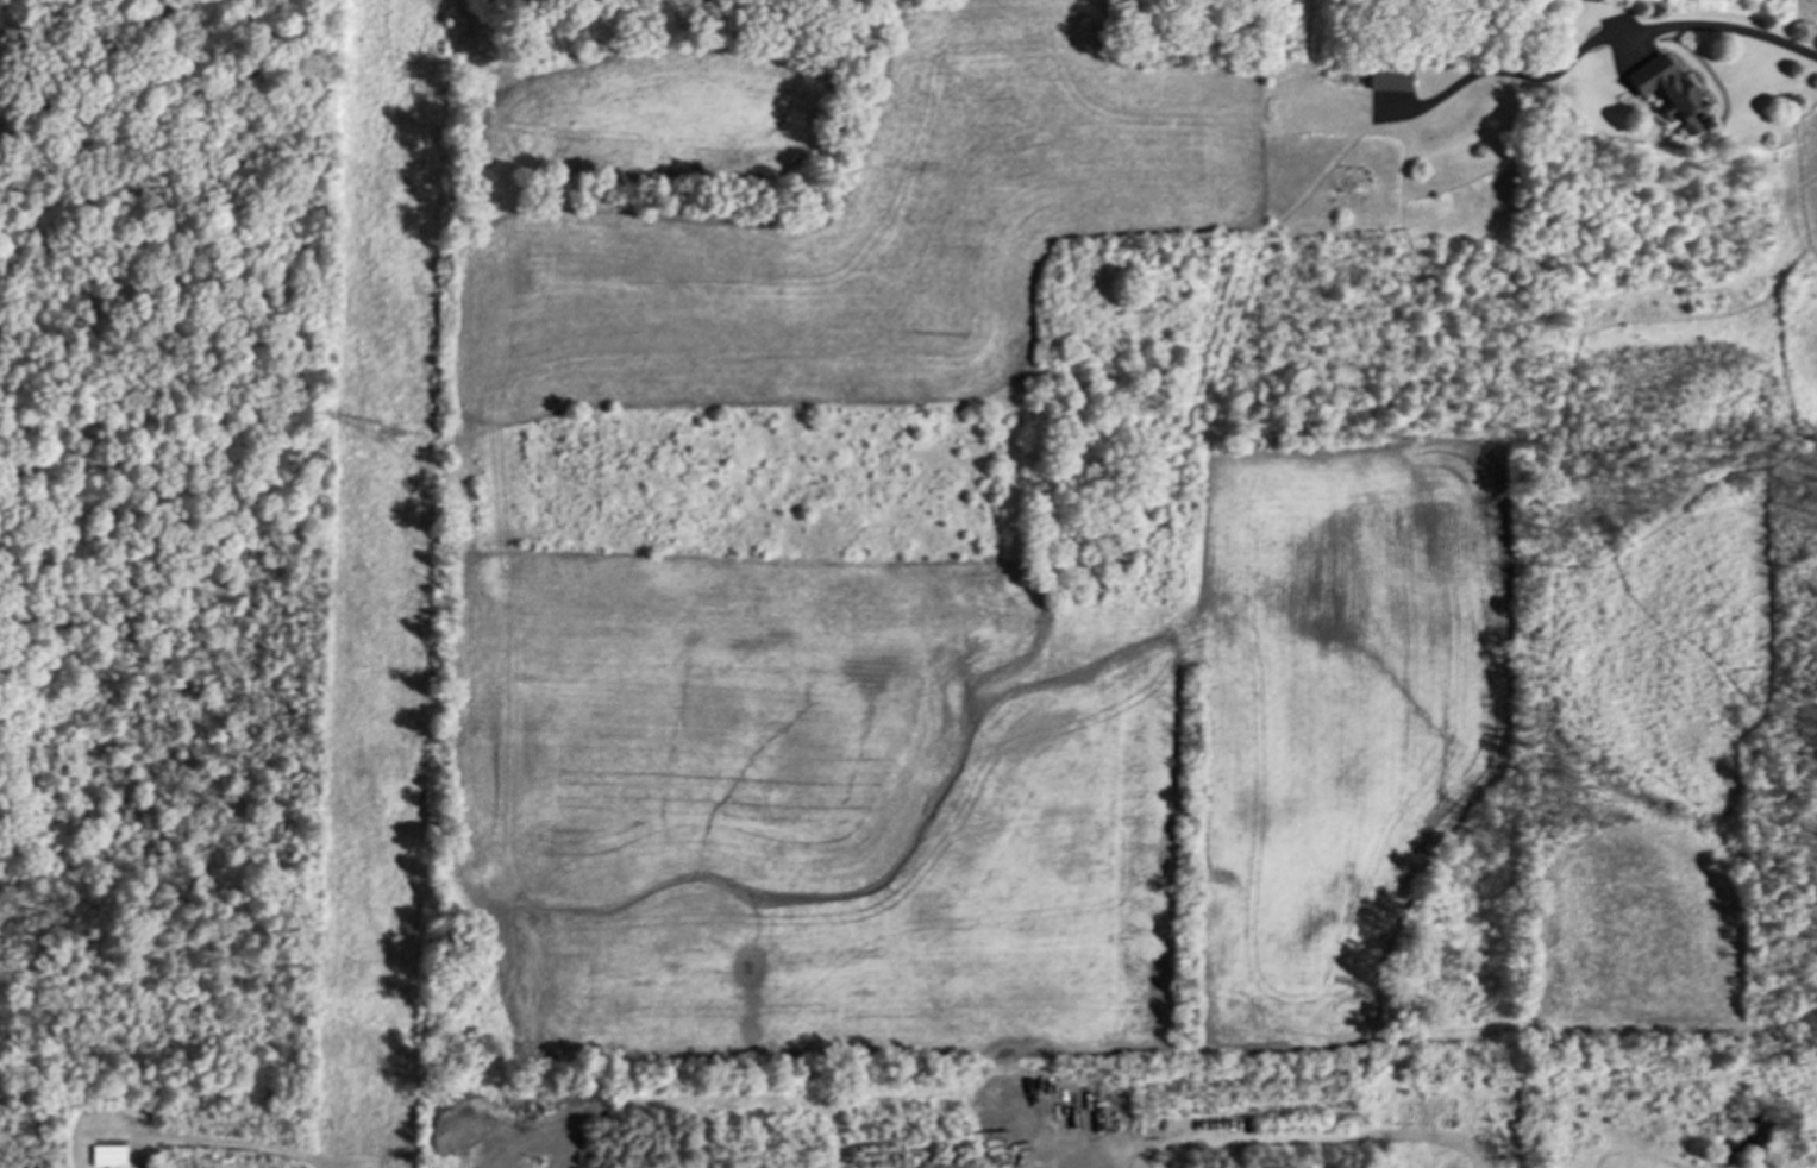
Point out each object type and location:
road: (1736, 27)
building: (1387, 79)
building: (1666, 90)
crop: (840, 213)
power tower: (388, 433)
crop: (984, 774)
road: (1323, 1135)
building: (106, 1150)

